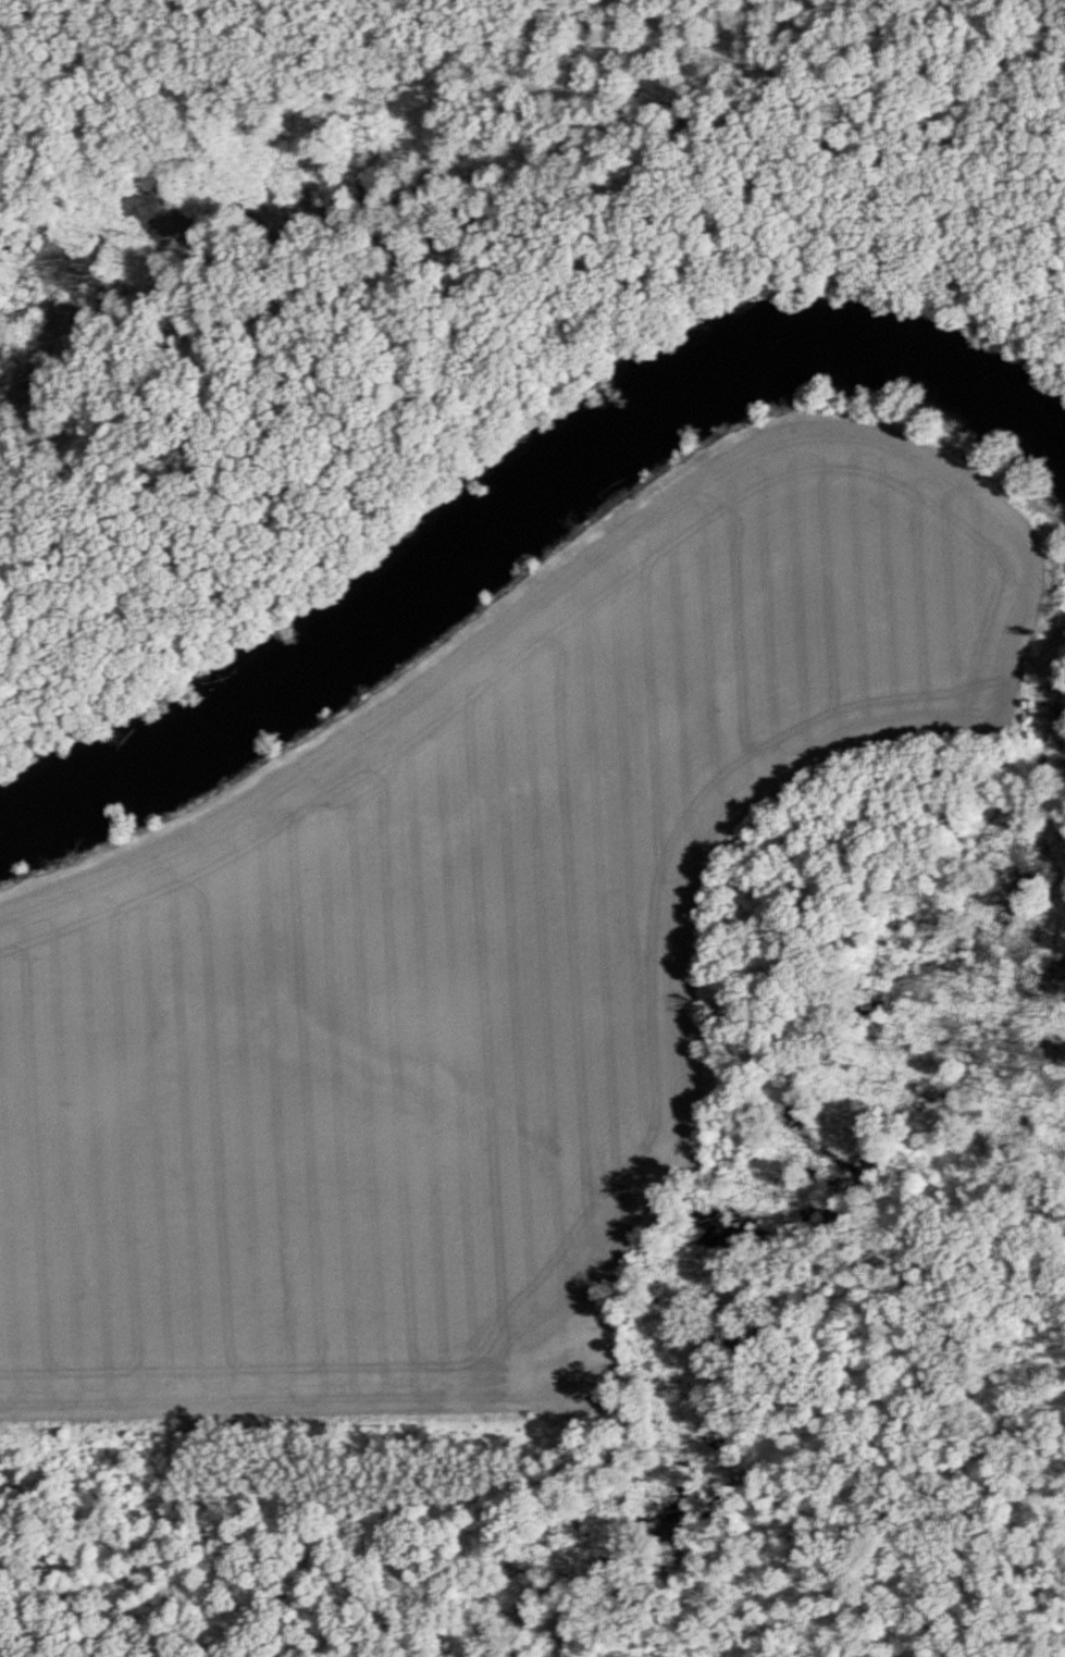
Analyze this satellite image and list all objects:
river: (529, 500)

